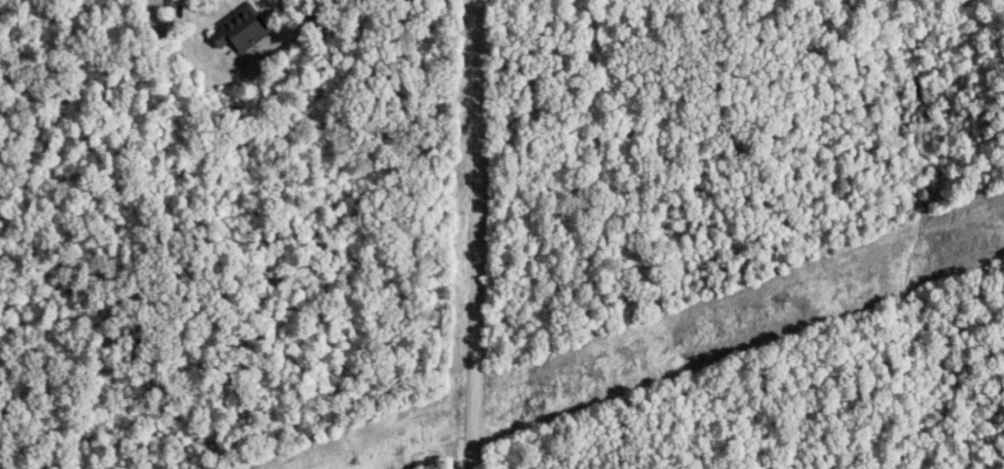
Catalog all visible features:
building: (236, 33)
road: (469, 234)
power tower: (952, 240)
power tower: (780, 302)
power tower: (546, 388)
power tower: (336, 463)

